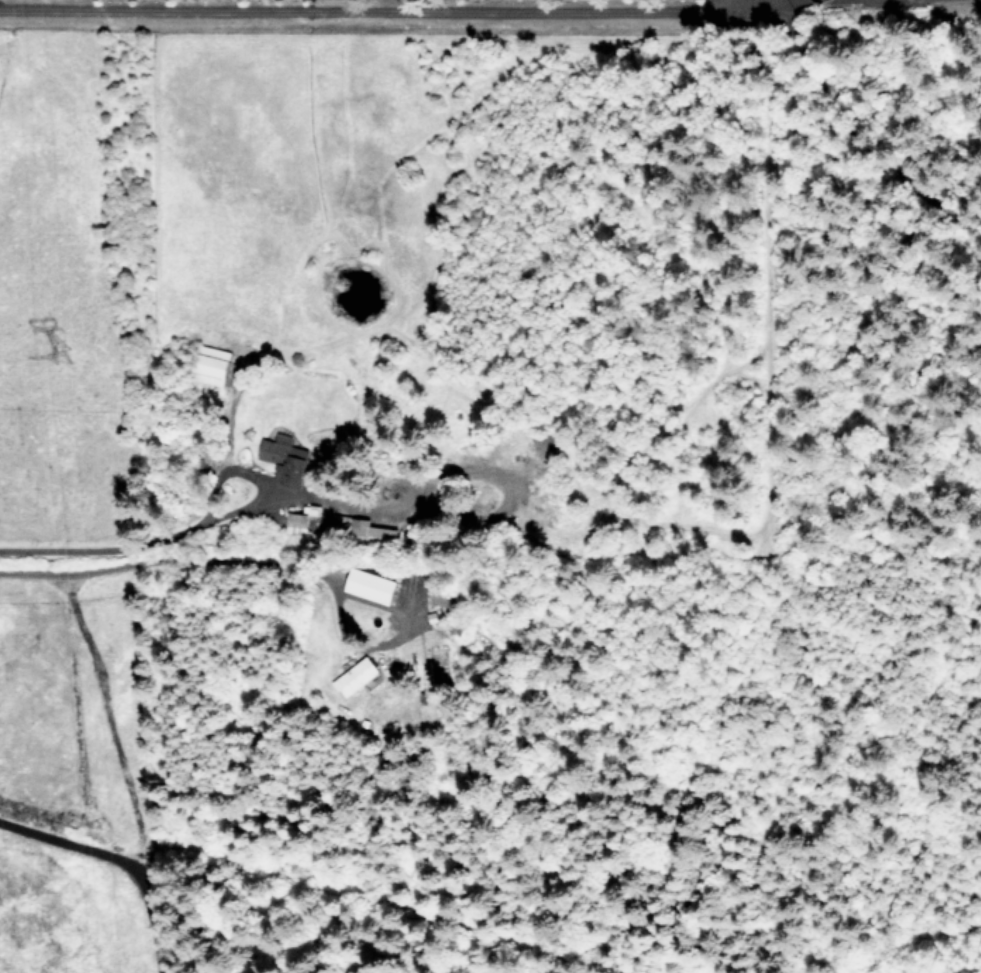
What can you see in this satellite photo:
road: (772, 2)
road: (368, 9)
building: (212, 364)
power tower: (71, 369)
building: (286, 459)
road: (187, 519)
building: (297, 522)
building: (382, 532)
road: (168, 559)
building: (372, 585)
road: (395, 640)
building: (355, 676)
road: (120, 856)

